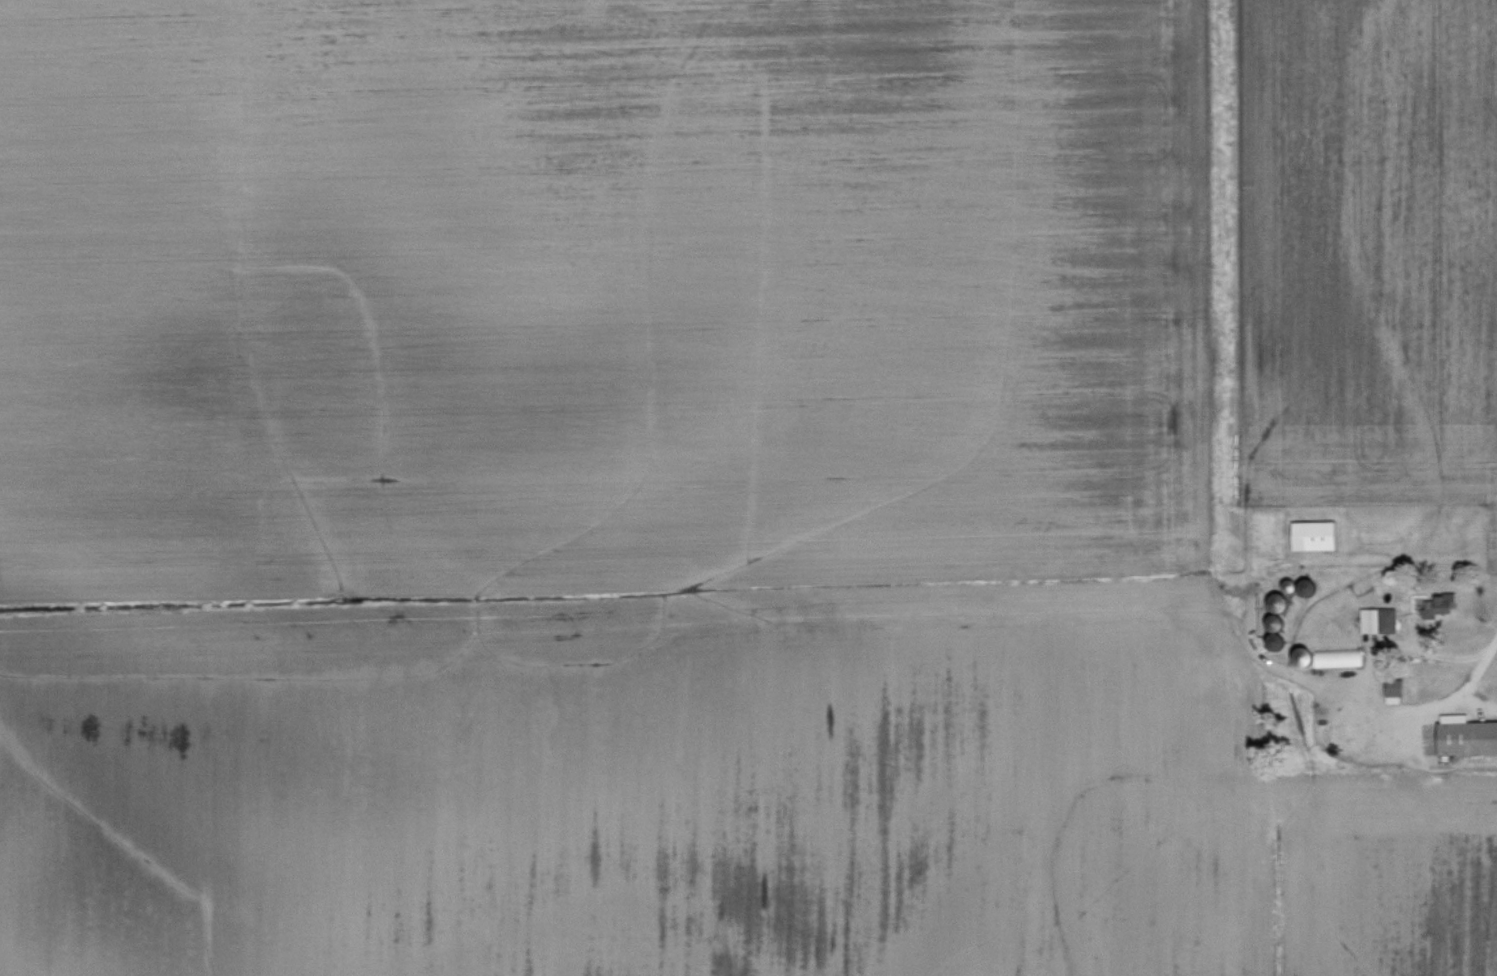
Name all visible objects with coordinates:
airport runway: (1216, 305)
building: (1305, 535)
building: (1311, 588)
building: (1282, 603)
building: (1442, 605)
road: (1465, 619)
building: (1384, 620)
building: (1332, 658)
building: (1397, 688)
building: (1468, 737)

